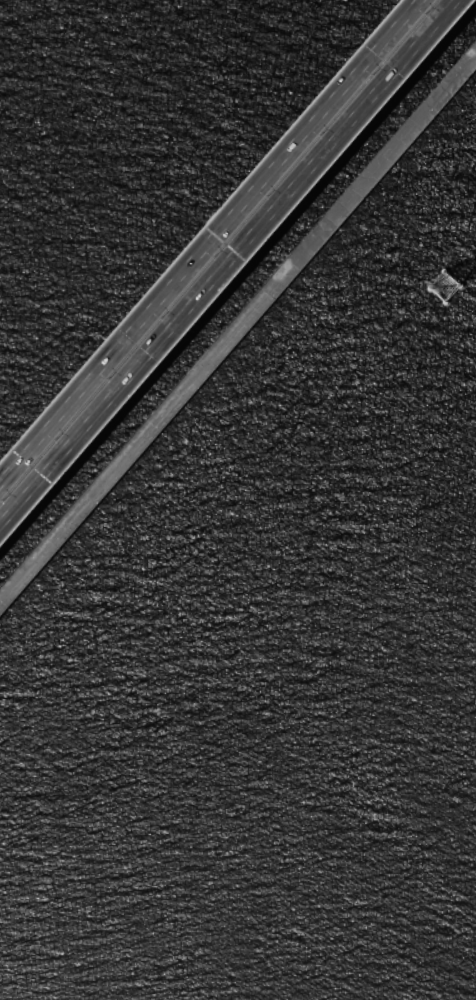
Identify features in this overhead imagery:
road: (212, 244)
road: (230, 264)
pier: (441, 285)
power tower: (447, 288)
road: (238, 323)
pier: (236, 324)

